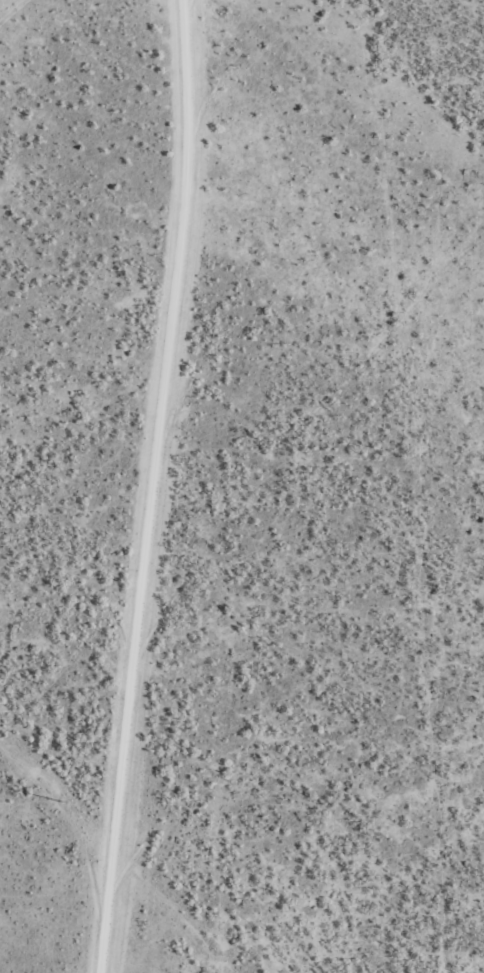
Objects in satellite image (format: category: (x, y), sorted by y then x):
road: (136, 487)
power tower: (60, 802)

